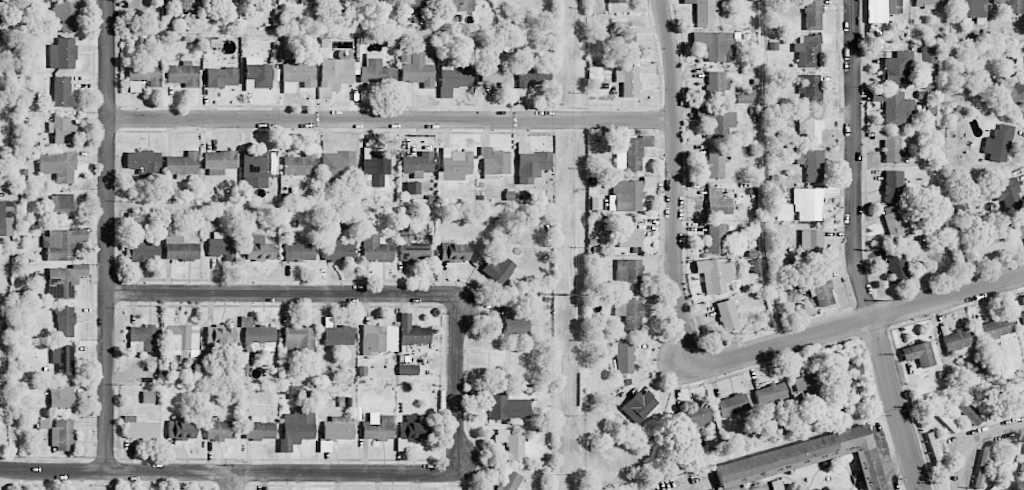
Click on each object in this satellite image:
building: (255, 0)
building: (300, 0)
building: (615, 1)
building: (181, 3)
building: (419, 3)
building: (928, 3)
building: (131, 4)
building: (457, 5)
building: (1011, 6)
building: (970, 8)
building: (882, 10)
building: (704, 11)
building: (812, 14)
building: (68, 15)
building: (621, 38)
building: (715, 45)
building: (807, 51)
building: (62, 53)
building: (928, 55)
building: (416, 69)
building: (353, 73)
building: (183, 74)
building: (258, 74)
building: (143, 75)
building: (496, 75)
building: (298, 76)
building: (532, 76)
building: (221, 77)
building: (454, 78)
building: (628, 80)
building: (715, 85)
building: (809, 90)
building: (62, 92)
building: (1015, 93)
building: (746, 98)
building: (893, 106)
road: (392, 120)
building: (716, 120)
building: (813, 125)
building: (61, 129)
building: (998, 144)
building: (895, 146)
building: (630, 152)
building: (220, 160)
road: (854, 160)
building: (143, 161)
building: (336, 162)
building: (418, 162)
building: (530, 163)
building: (715, 163)
building: (182, 164)
building: (259, 164)
building: (299, 164)
building: (58, 165)
building: (454, 165)
building: (813, 165)
building: (376, 167)
road: (675, 184)
building: (892, 186)
building: (1007, 193)
building: (627, 196)
building: (810, 201)
building: (717, 202)
building: (62, 206)
building: (962, 206)
building: (6, 218)
building: (897, 223)
building: (1019, 228)
building: (628, 232)
road: (108, 236)
building: (716, 238)
building: (62, 243)
building: (811, 244)
building: (221, 246)
building: (258, 248)
building: (144, 249)
building: (376, 249)
building: (412, 250)
building: (337, 251)
building: (299, 252)
building: (453, 252)
building: (896, 266)
building: (498, 270)
building: (5, 273)
building: (629, 273)
building: (715, 275)
building: (64, 281)
building: (820, 289)
power tower: (567, 293)
road: (324, 294)
road: (948, 297)
building: (629, 313)
building: (727, 315)
building: (1021, 320)
building: (64, 321)
building: (515, 322)
building: (997, 327)
building: (412, 331)
building: (220, 335)
building: (144, 339)
building: (182, 339)
building: (299, 339)
building: (378, 339)
building: (958, 341)
road: (783, 344)
building: (918, 354)
building: (62, 358)
building: (625, 358)
building: (976, 368)
building: (407, 369)
building: (845, 371)
building: (808, 385)
building: (769, 395)
building: (61, 398)
building: (506, 405)
building: (731, 405)
road: (896, 405)
building: (639, 406)
building: (965, 411)
building: (693, 418)
building: (943, 418)
building: (298, 425)
building: (140, 428)
building: (338, 428)
building: (378, 428)
building: (412, 428)
building: (180, 429)
building: (258, 429)
building: (220, 430)
building: (61, 434)
road: (972, 438)
building: (512, 446)
building: (807, 457)
road: (883, 461)
building: (1005, 462)
building: (1023, 466)
building: (980, 469)
road: (53, 471)
road: (169, 473)
road: (393, 473)
road: (232, 481)
building: (509, 481)
building: (777, 484)
building: (1015, 485)
building: (992, 488)

